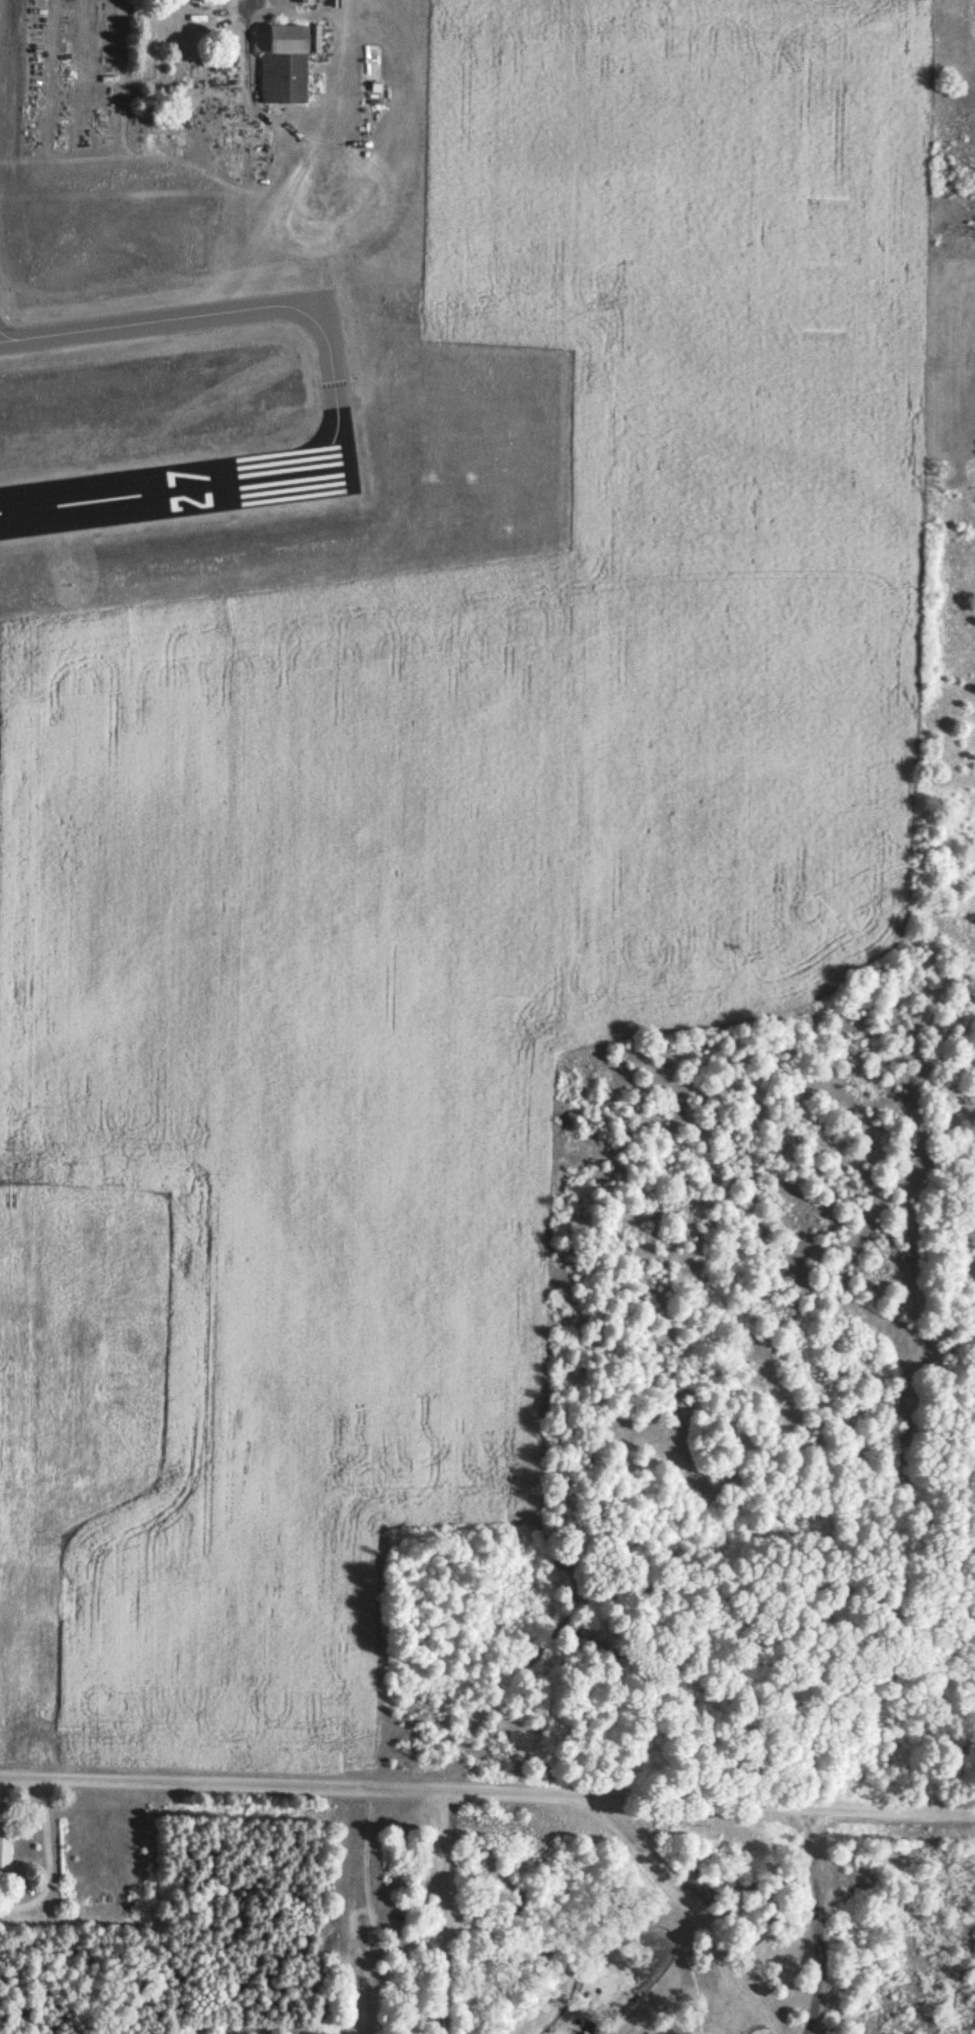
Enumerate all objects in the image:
building: (281, 63)
airport taxiway: (233, 312)
airport: (222, 332)
airport runway: (174, 490)
road: (487, 1776)
building: (4, 1854)
road: (645, 1912)

